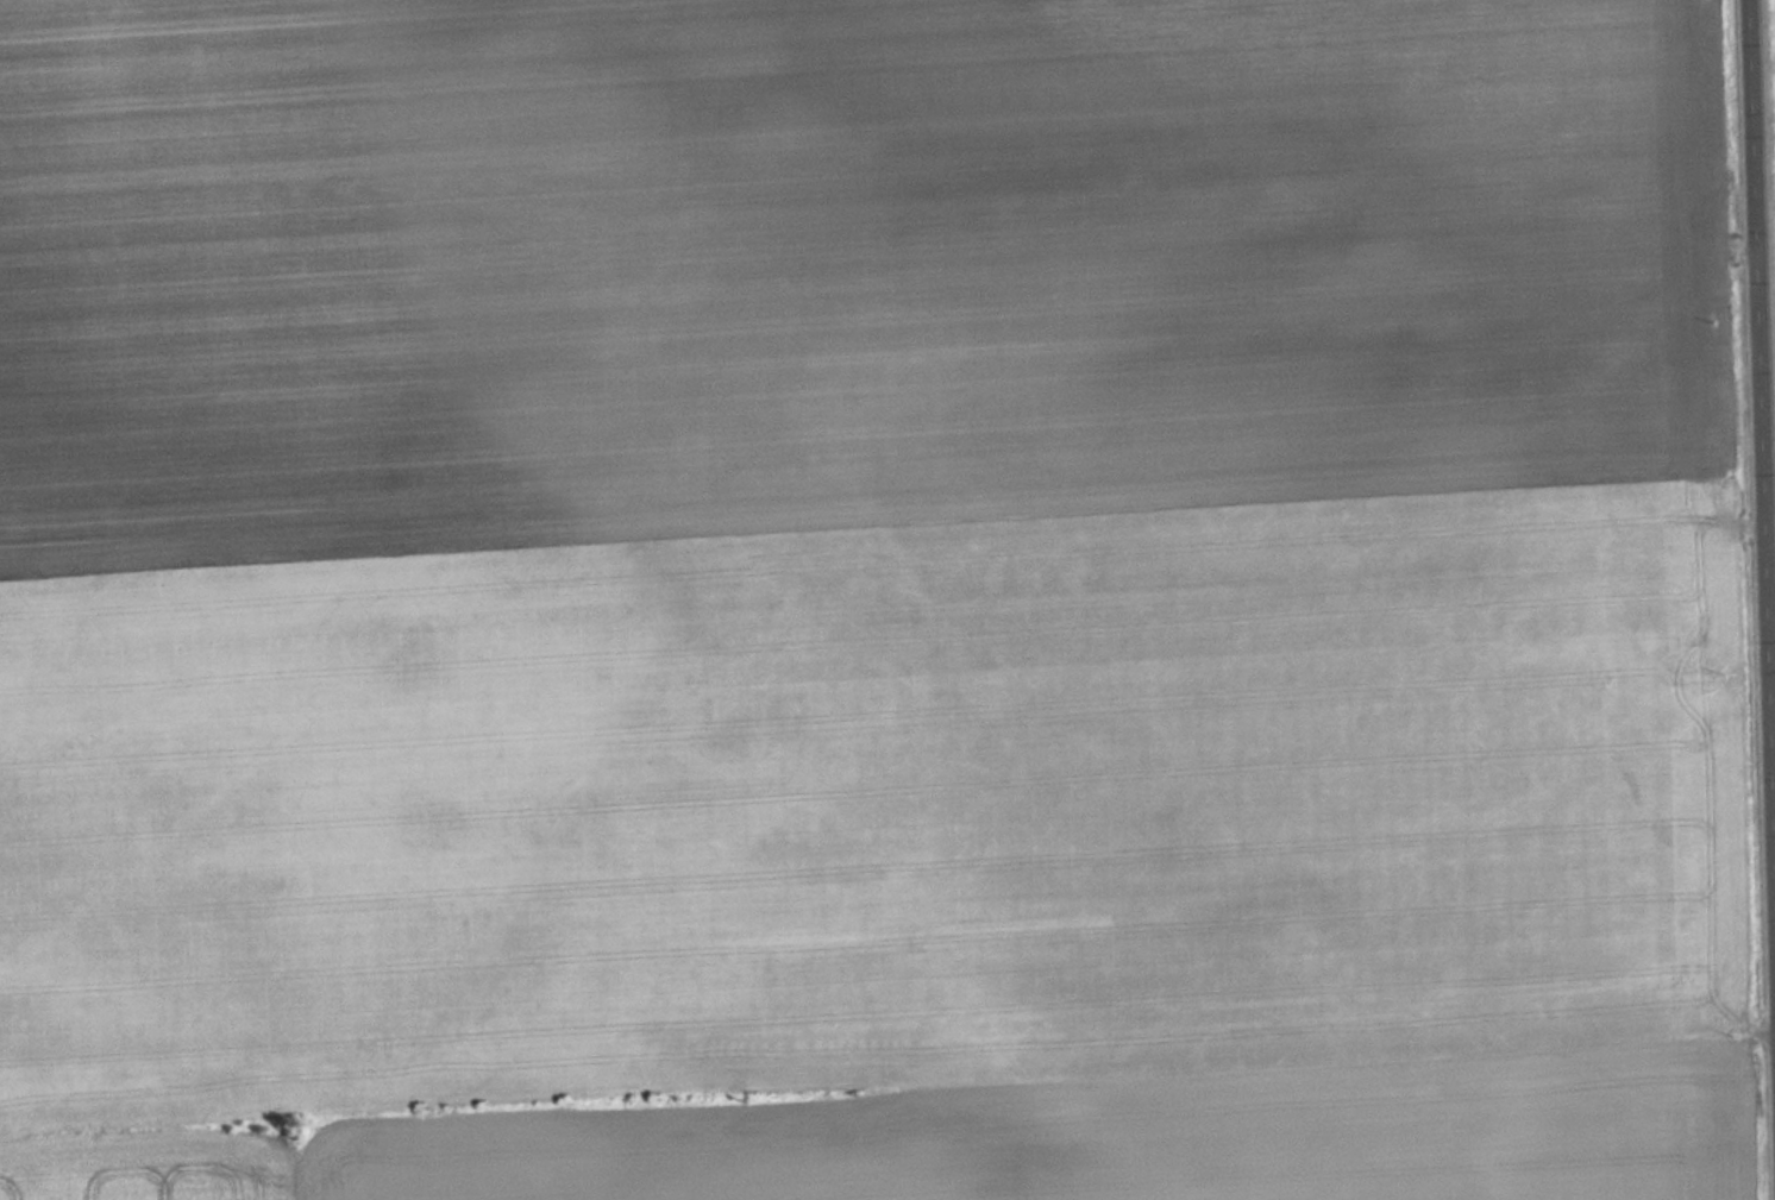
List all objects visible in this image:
road: (1767, 253)

